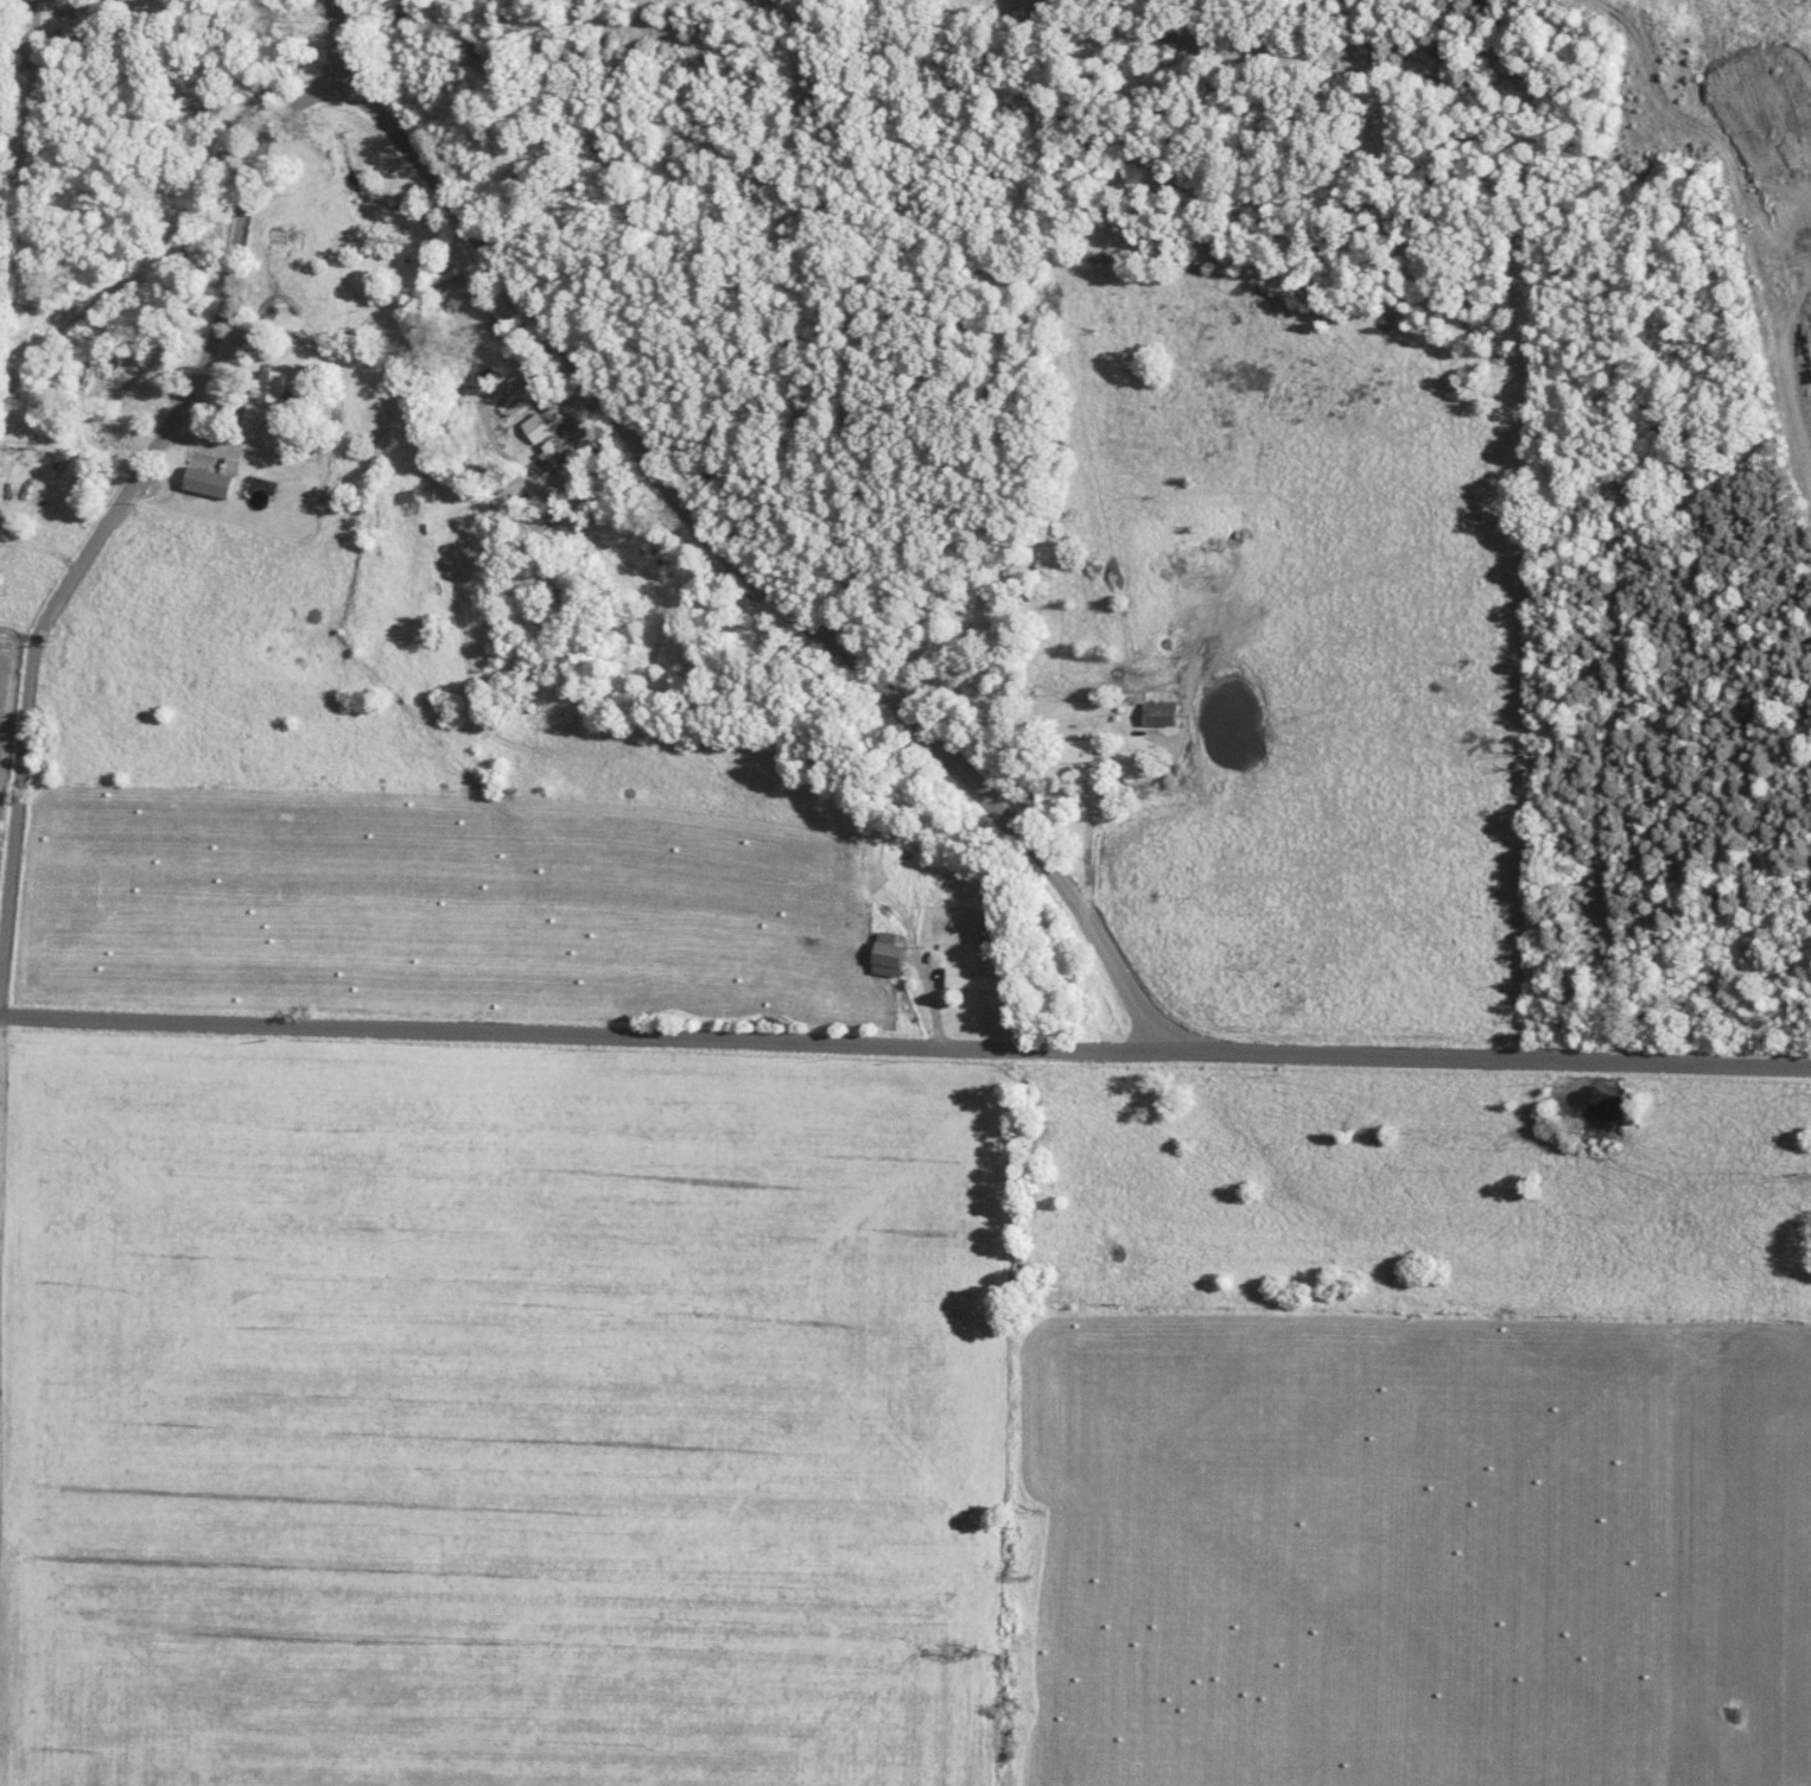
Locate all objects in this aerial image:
road: (335, 43)
building: (272, 399)
building: (539, 427)
building: (564, 463)
building: (214, 482)
building: (412, 496)
road: (119, 504)
road: (749, 573)
building: (1164, 713)
building: (1081, 750)
building: (894, 954)
building: (980, 983)
road: (904, 1045)

